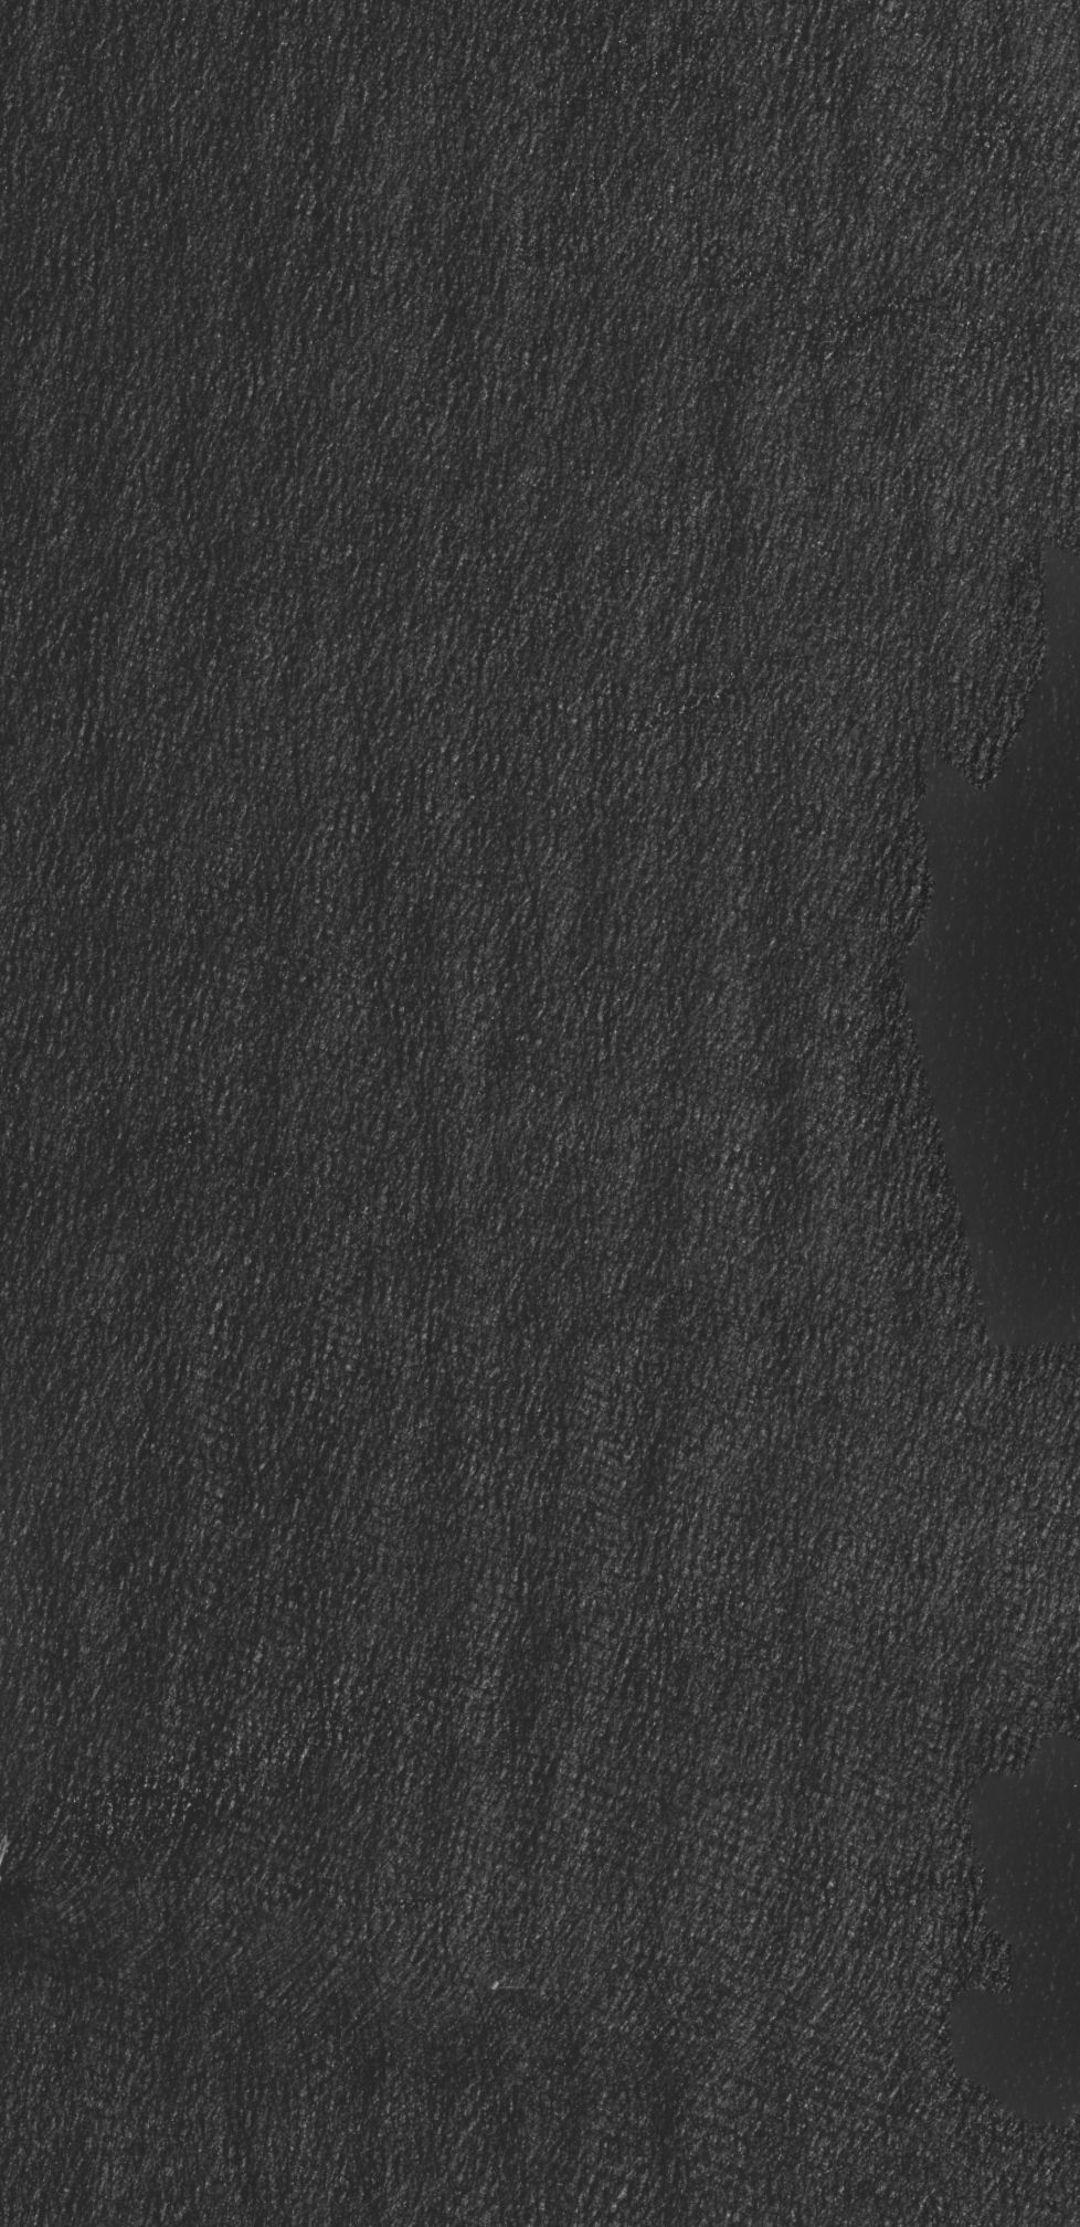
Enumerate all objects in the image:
building: (19, 1858)

